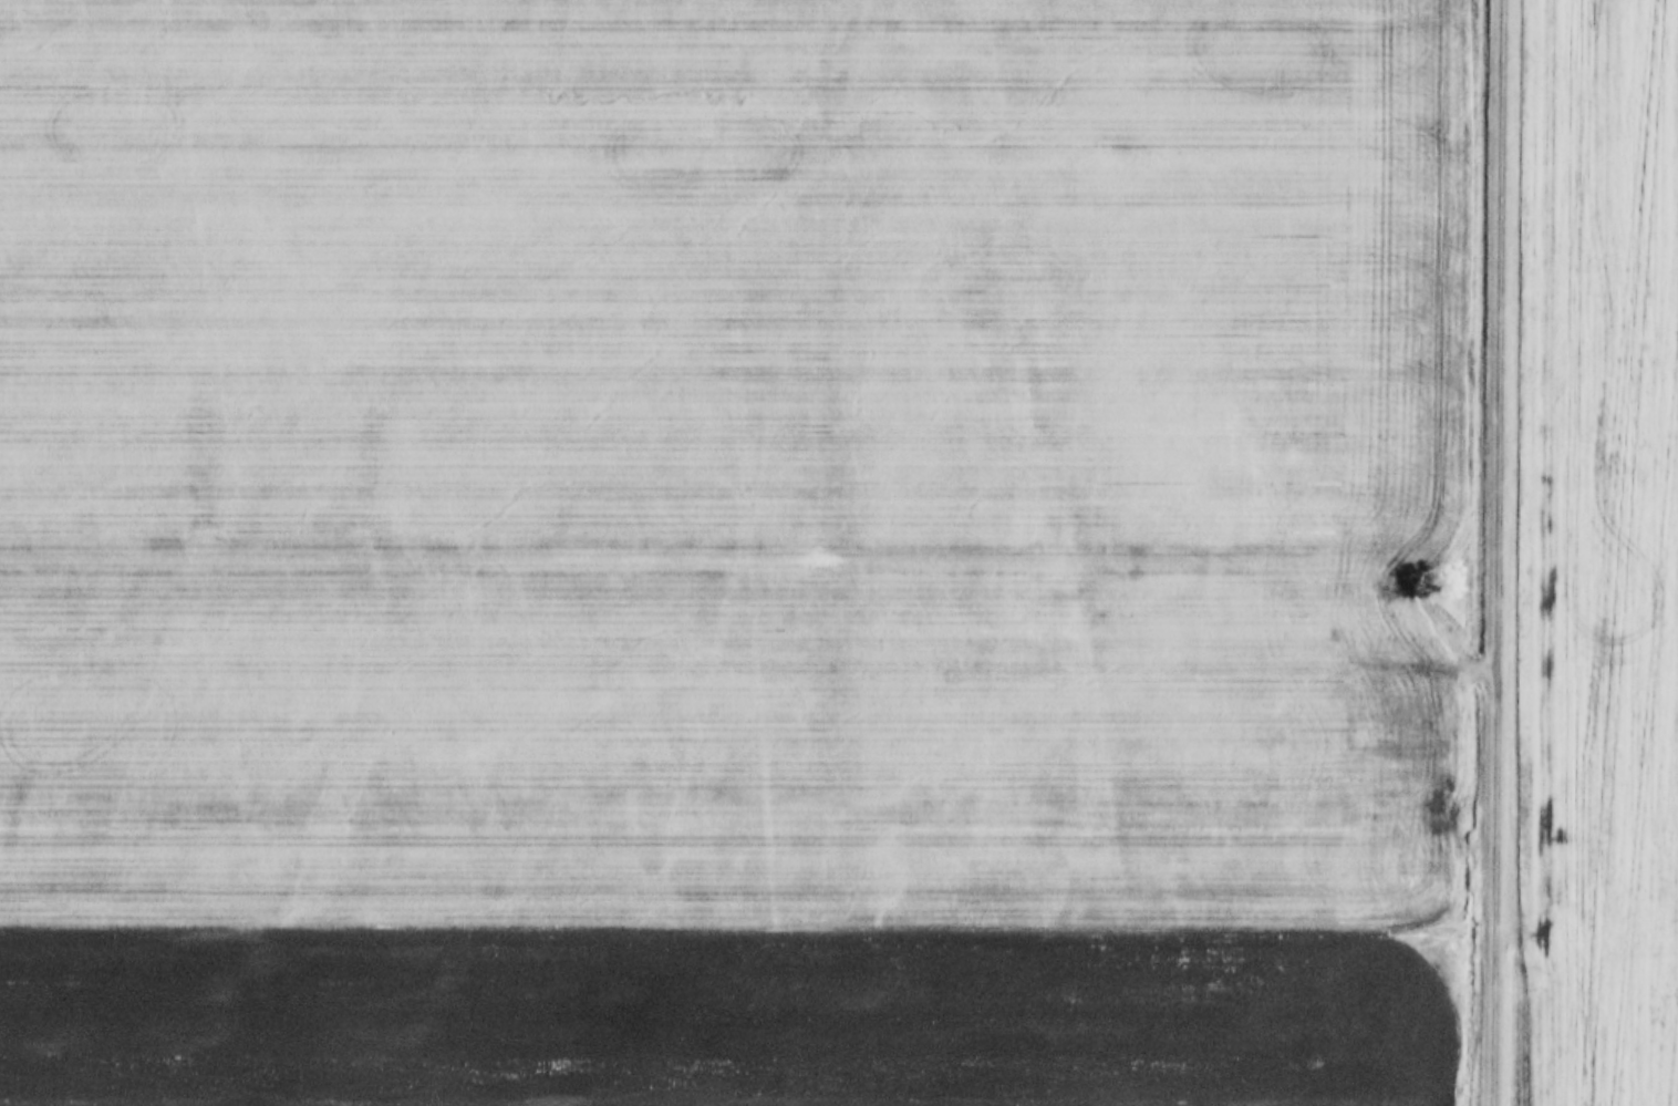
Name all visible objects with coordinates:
road: (1499, 552)

